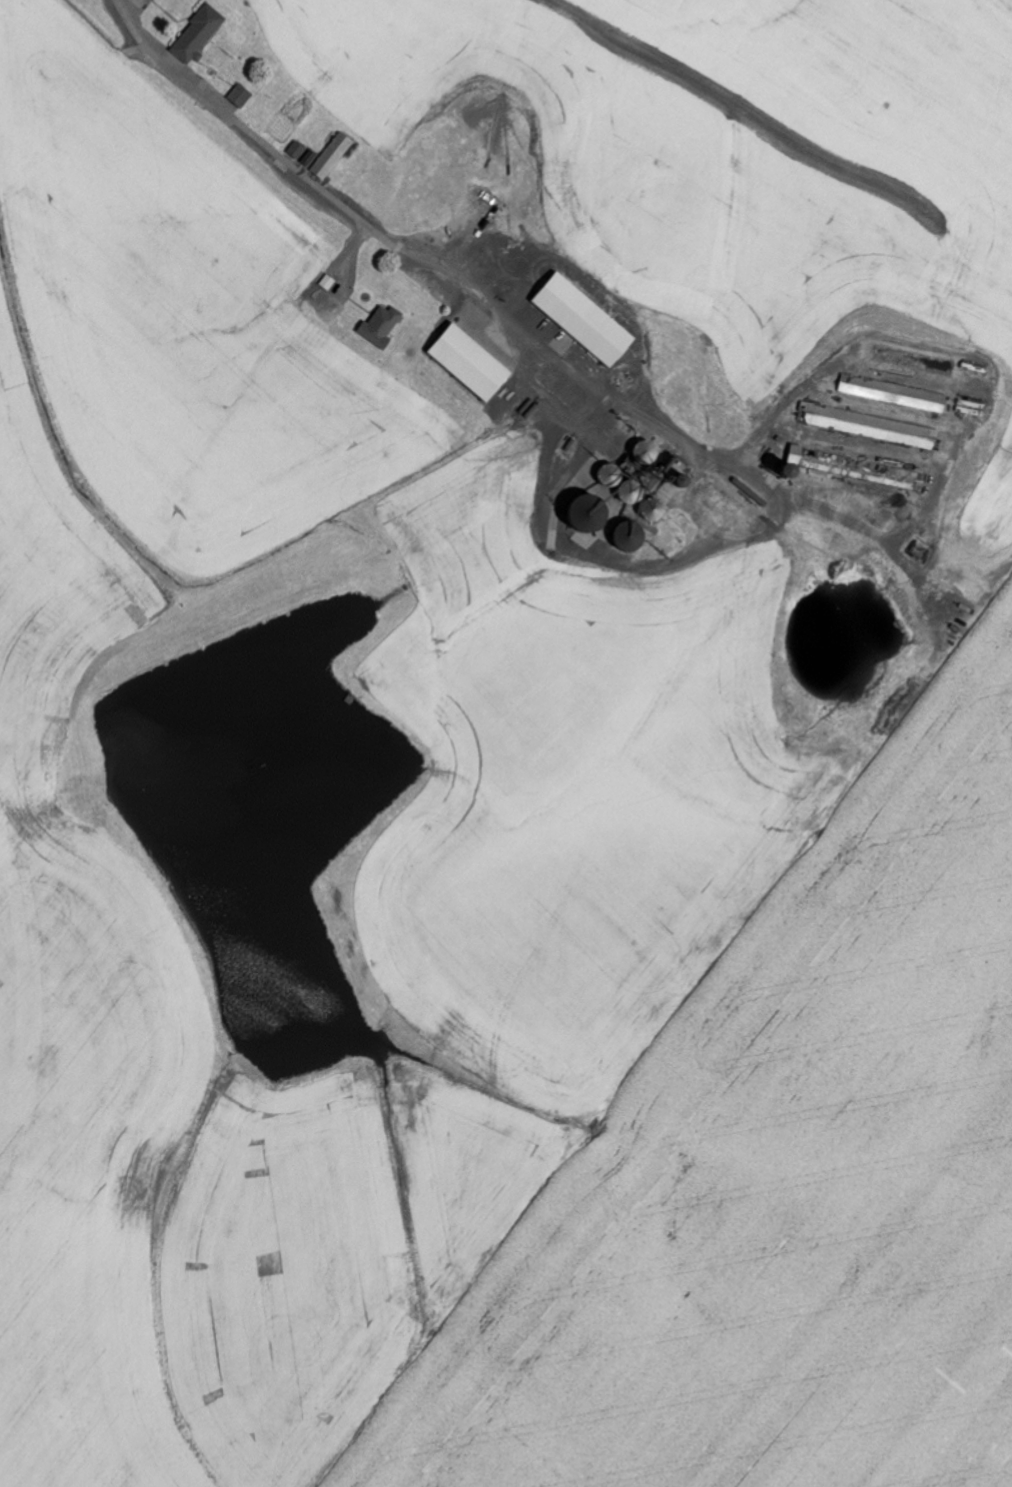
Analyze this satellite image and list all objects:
building: (202, 34)
building: (243, 96)
building: (325, 155)
road: (333, 226)
building: (589, 321)
building: (385, 326)
building: (476, 363)
building: (896, 394)
building: (874, 427)

